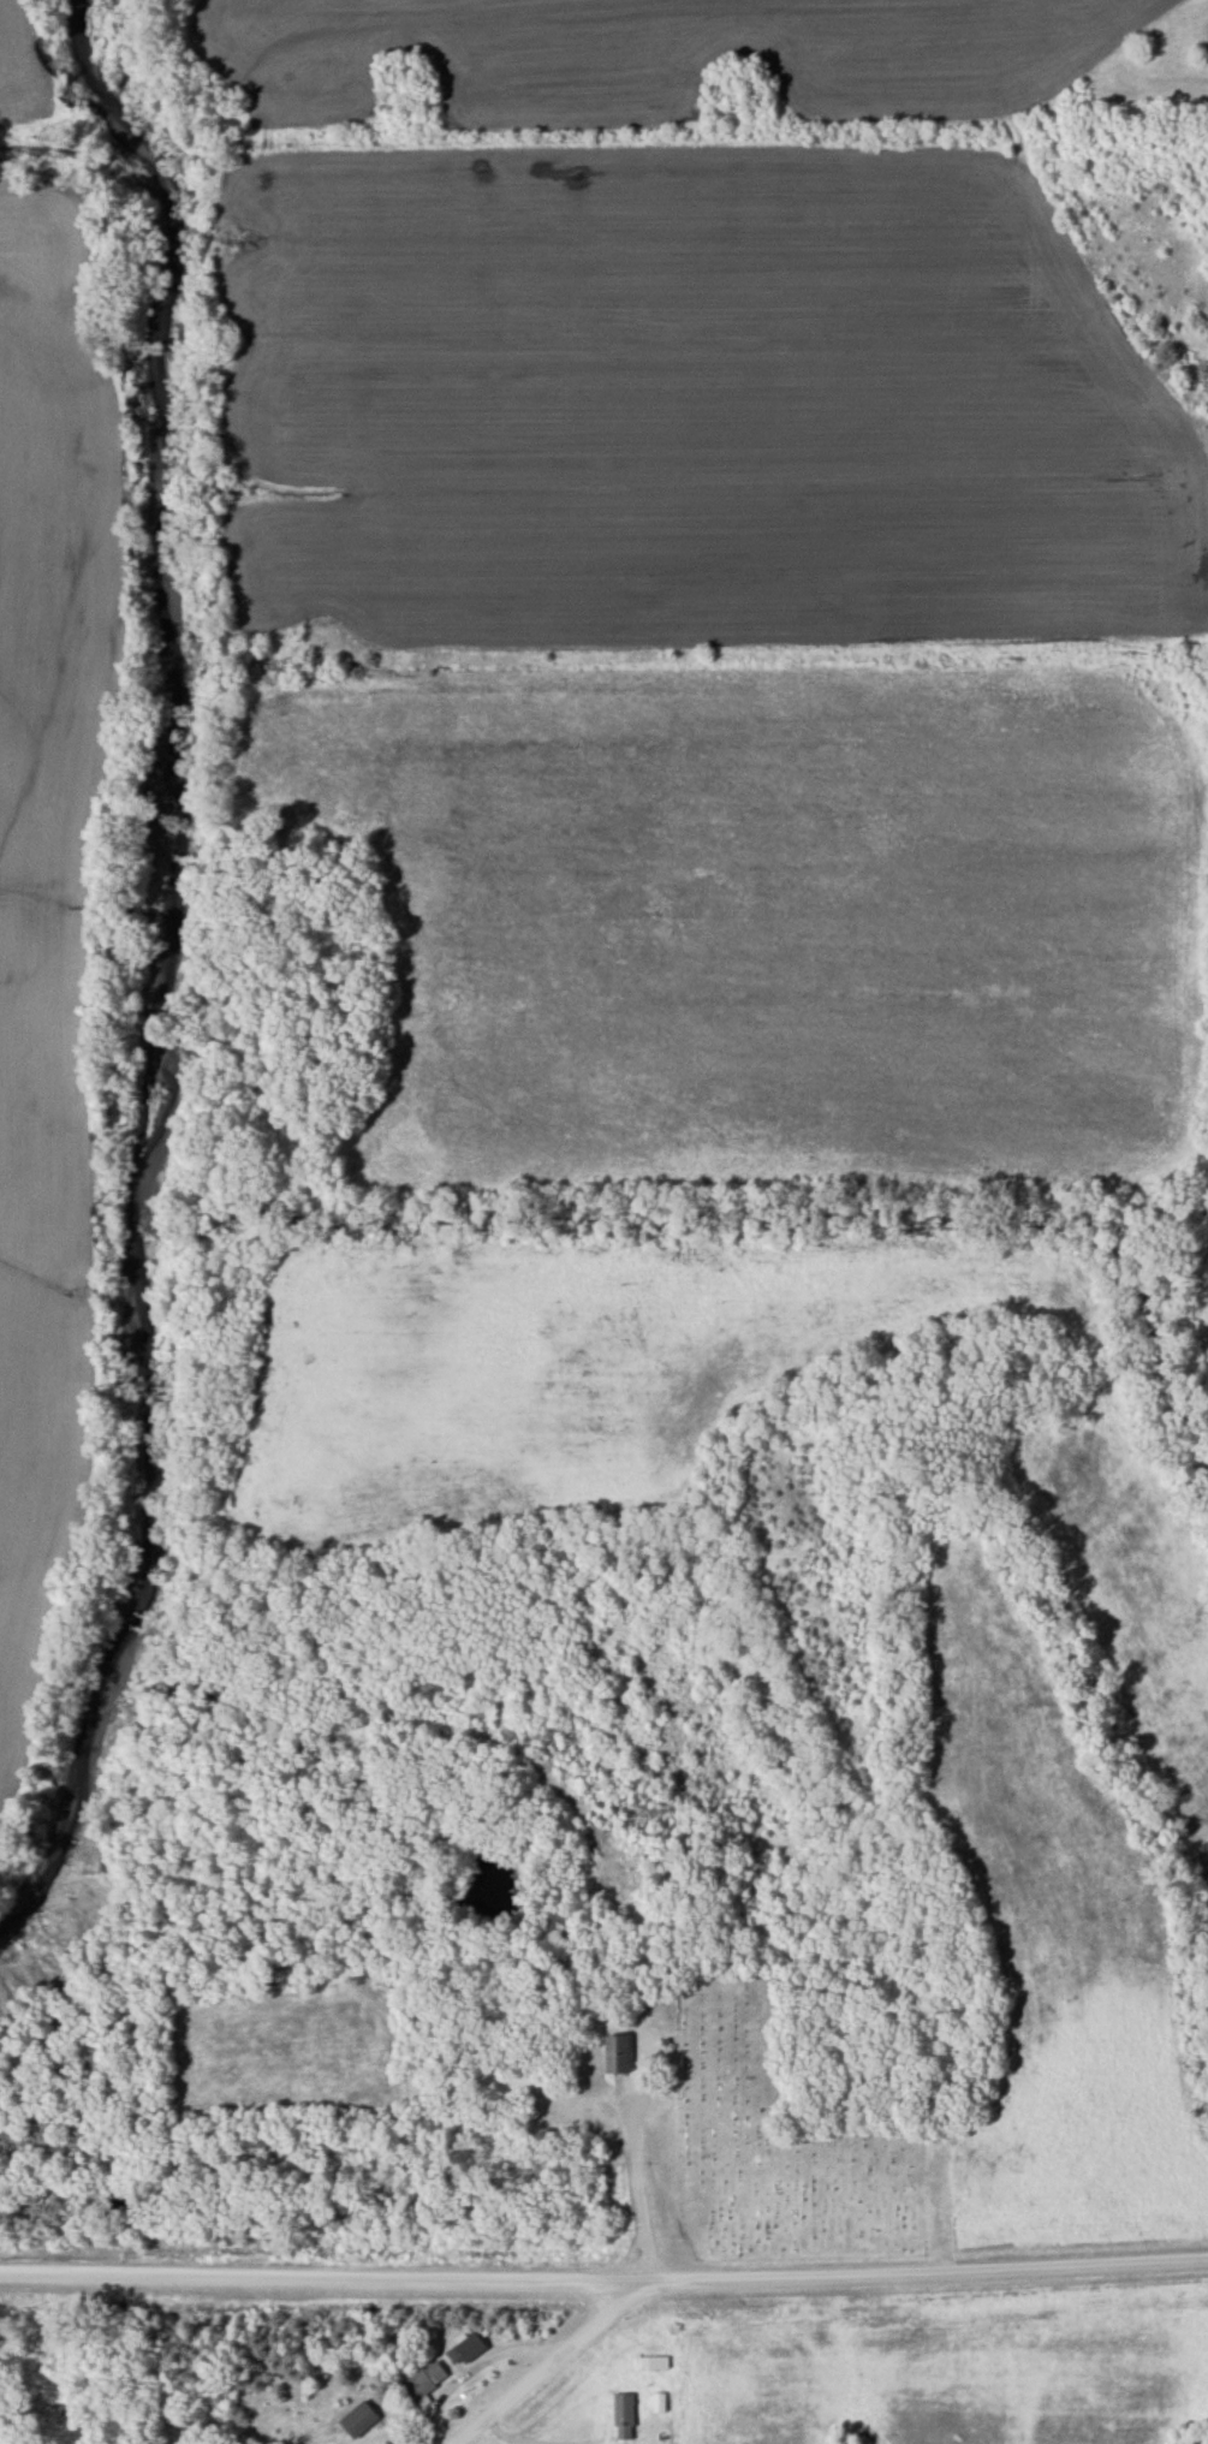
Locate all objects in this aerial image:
building: (613, 2052)
park: (784, 2147)
road: (642, 2196)
road: (603, 2283)
building: (650, 2362)
road: (548, 2366)
building: (418, 2380)
building: (655, 2402)
building: (620, 2416)
building: (355, 2420)

